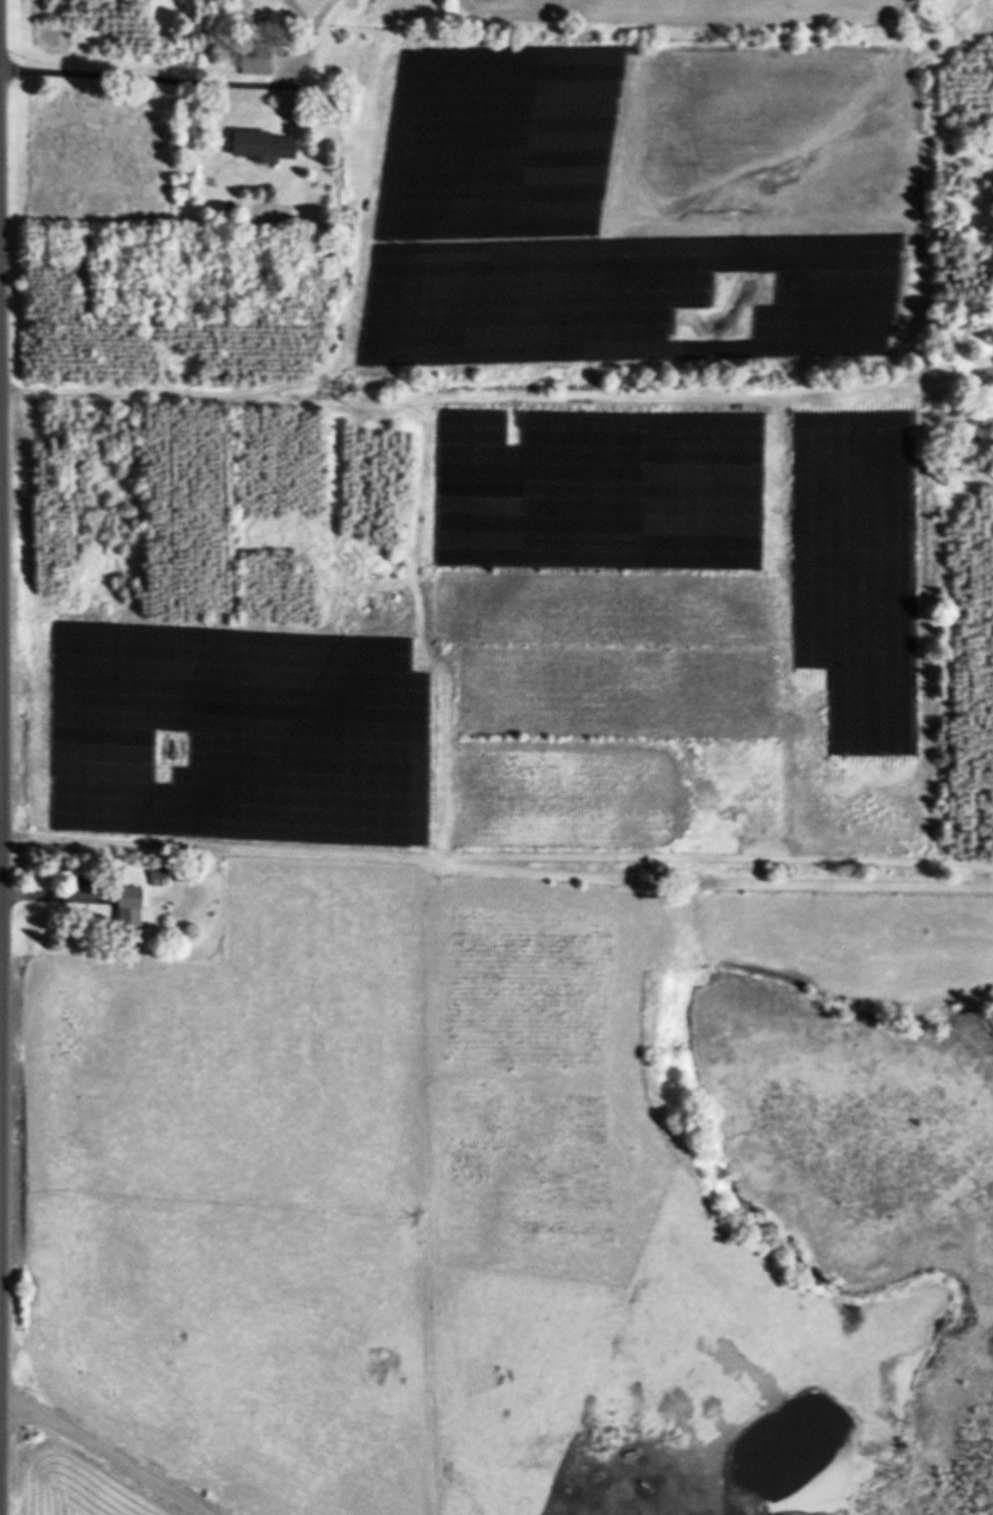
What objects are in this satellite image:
building: (254, 65)
building: (261, 144)
road: (1, 854)
building: (158, 875)
building: (127, 907)
road: (1, 962)
road: (105, 1454)

